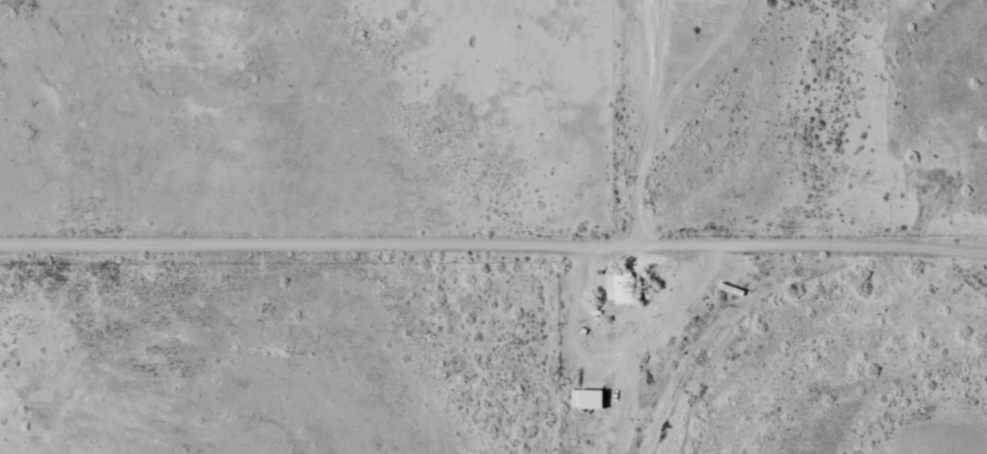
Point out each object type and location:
road: (493, 237)
building: (620, 281)
building: (586, 392)

